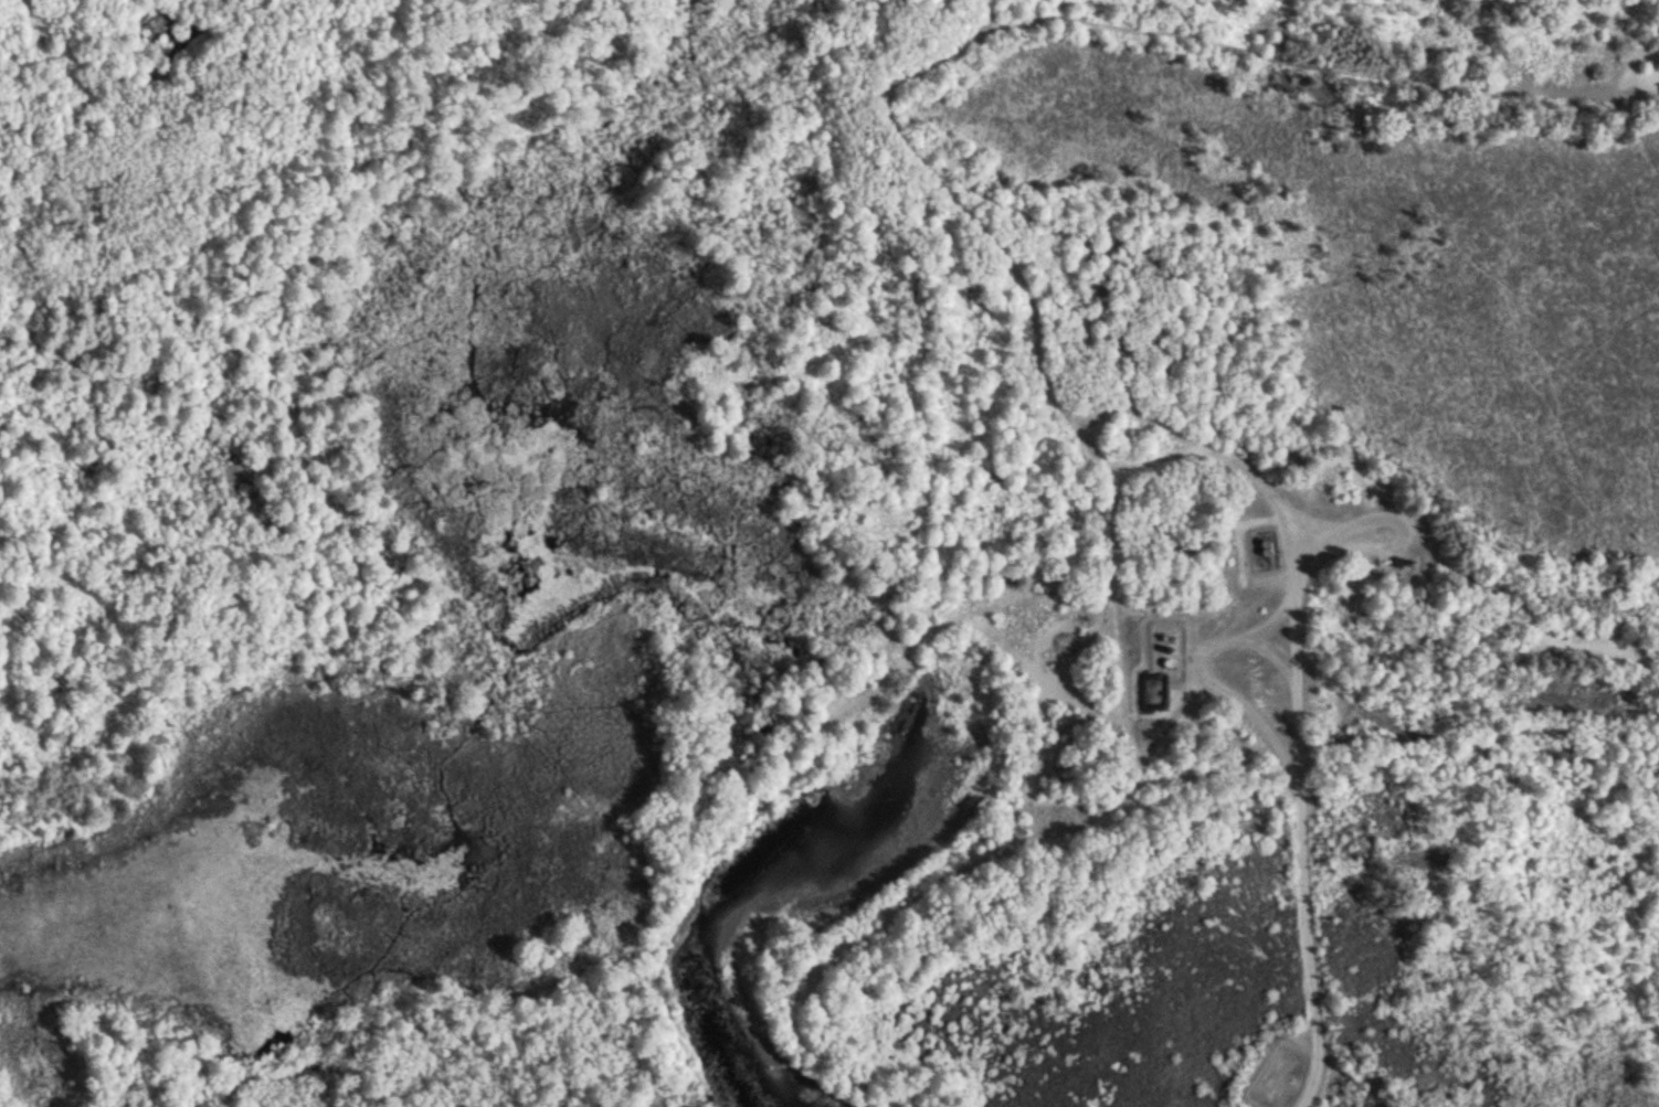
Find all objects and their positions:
road: (1042, 286)
petroleum well: (1403, 560)
building: (1152, 692)

